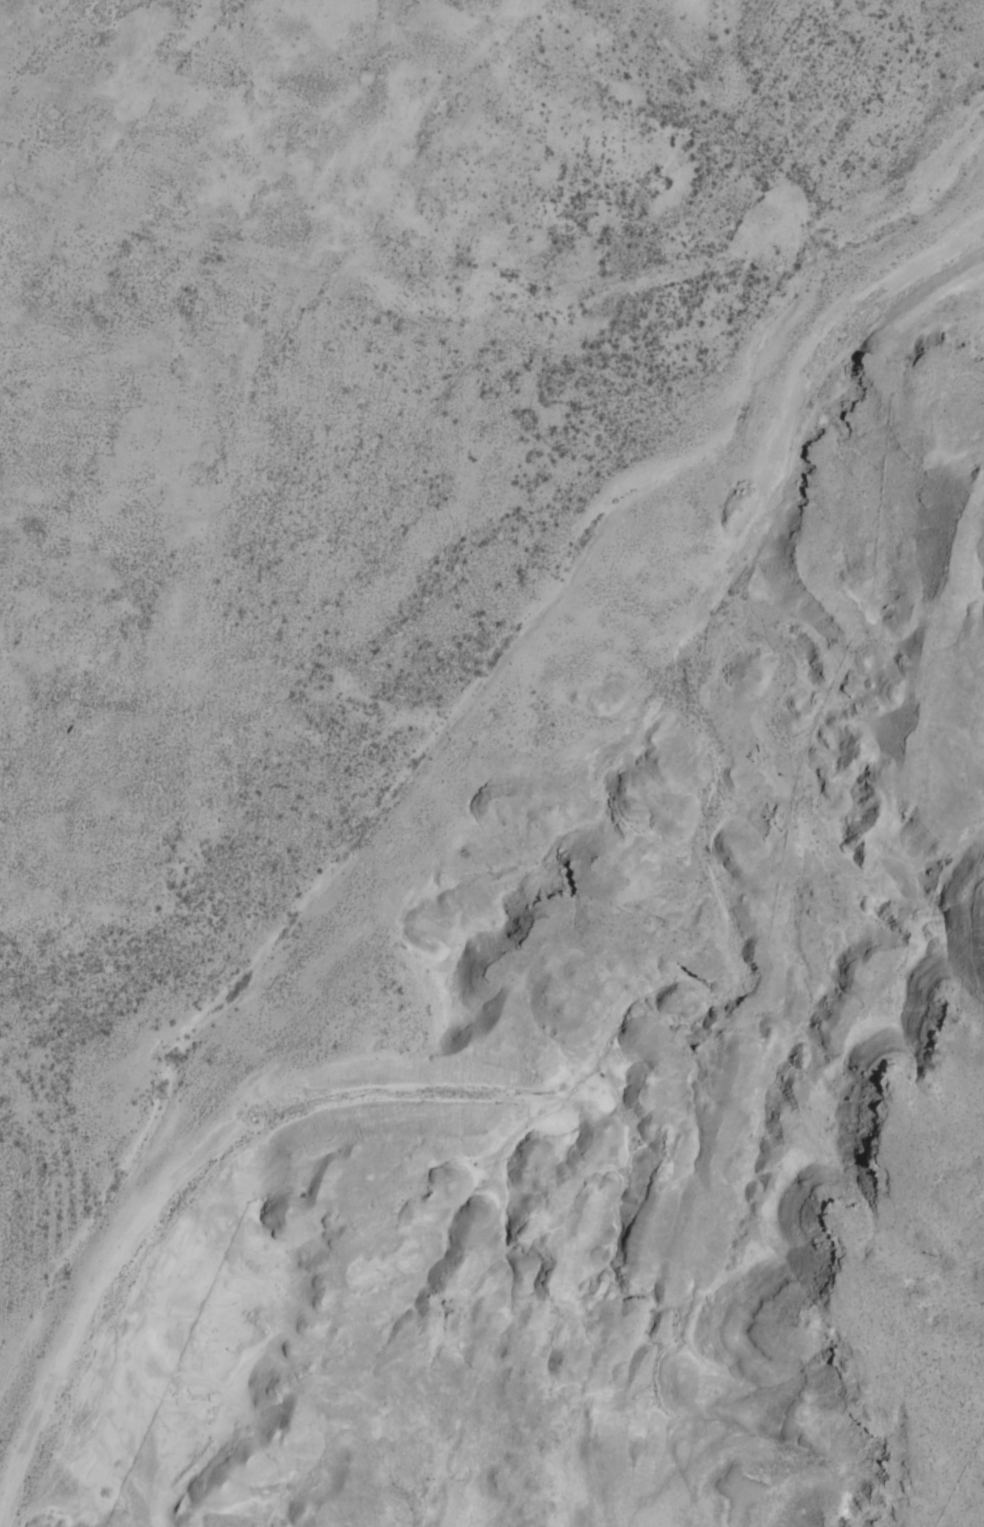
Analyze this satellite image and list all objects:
quarry: (405, 666)

